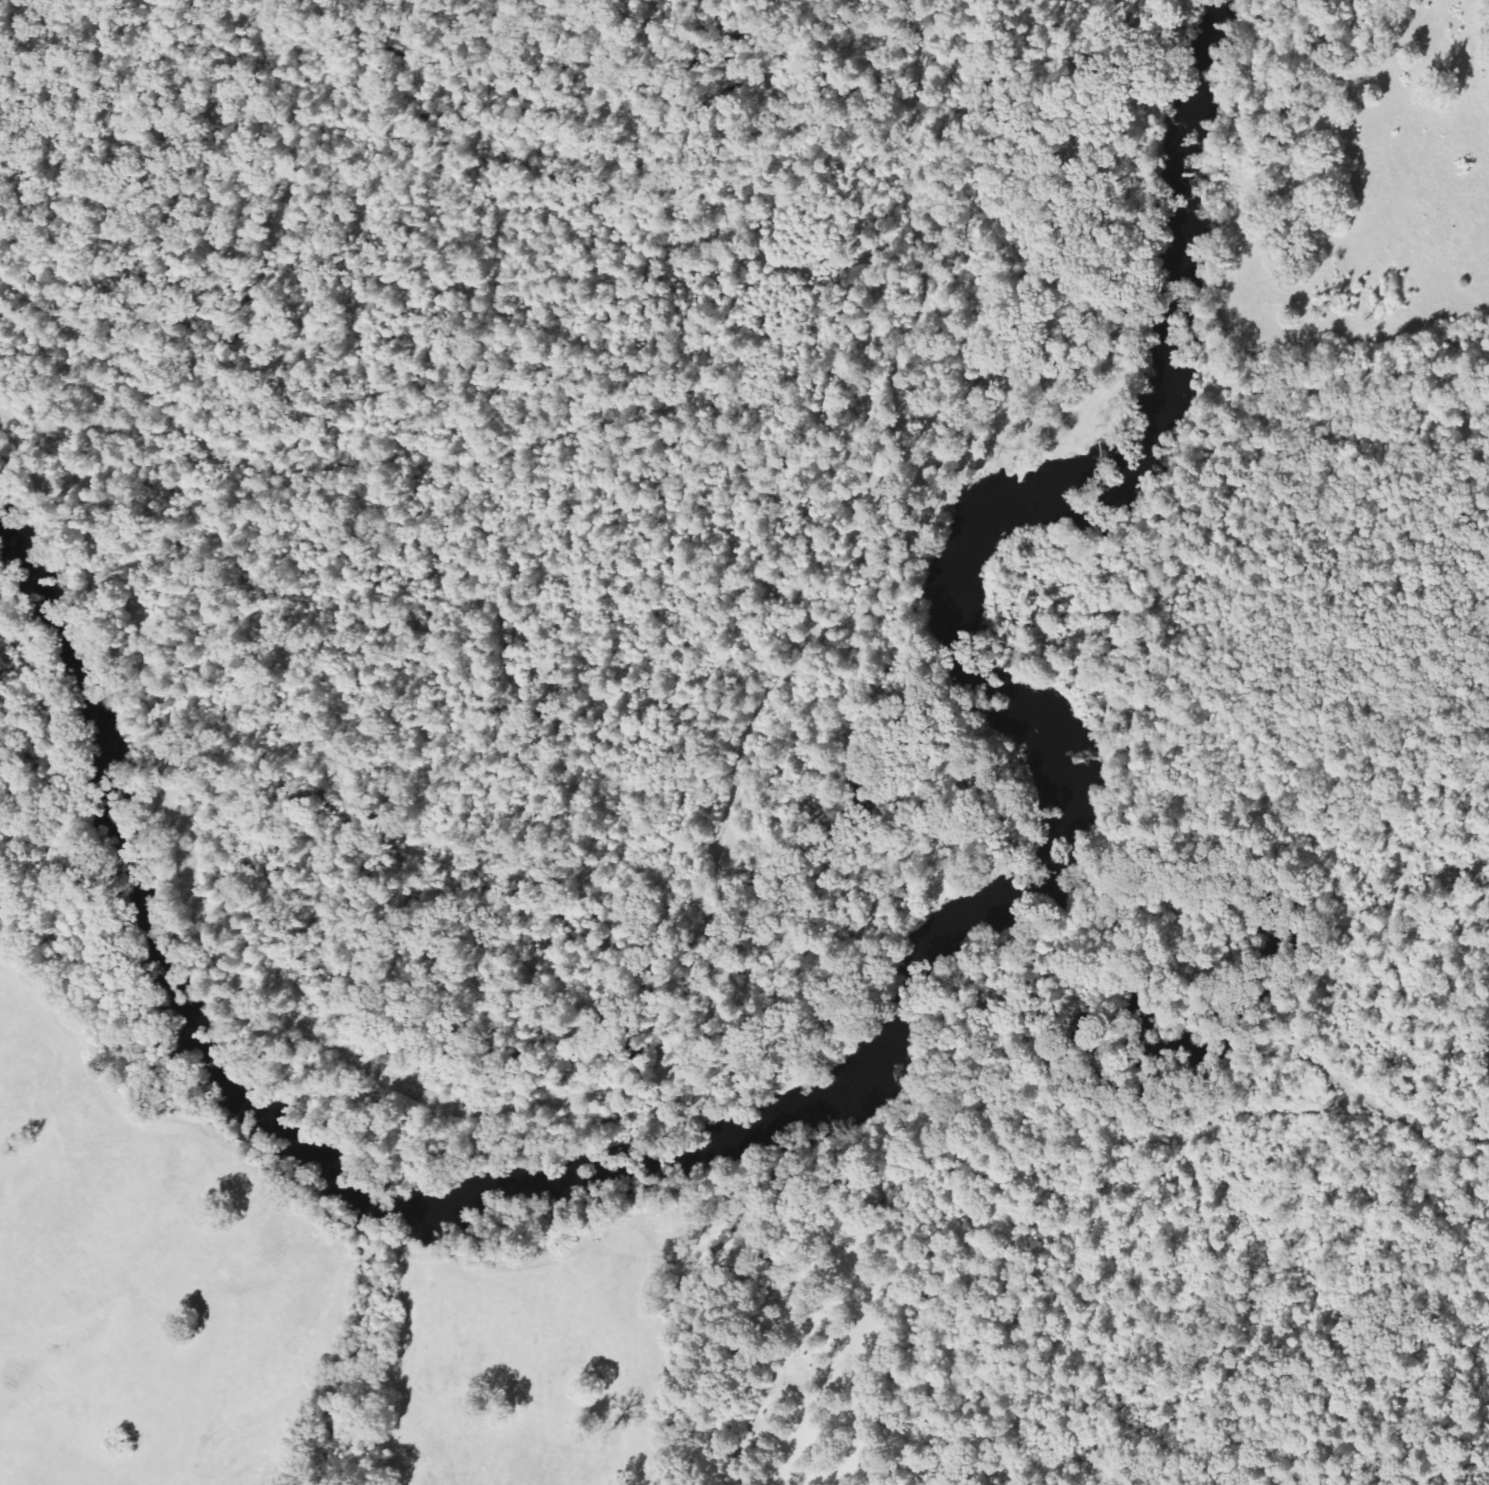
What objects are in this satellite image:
river: (872, 1066)

